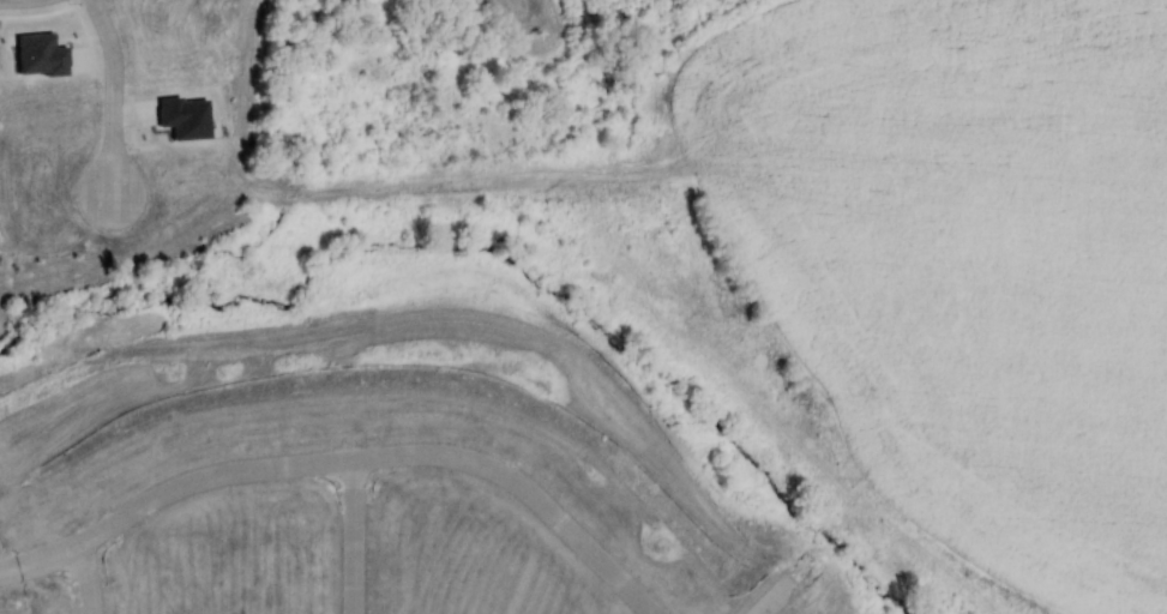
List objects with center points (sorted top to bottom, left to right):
building: (38, 53)
road: (113, 97)
building: (184, 115)
road: (347, 458)
road: (350, 536)
road: (89, 578)
road: (770, 600)

